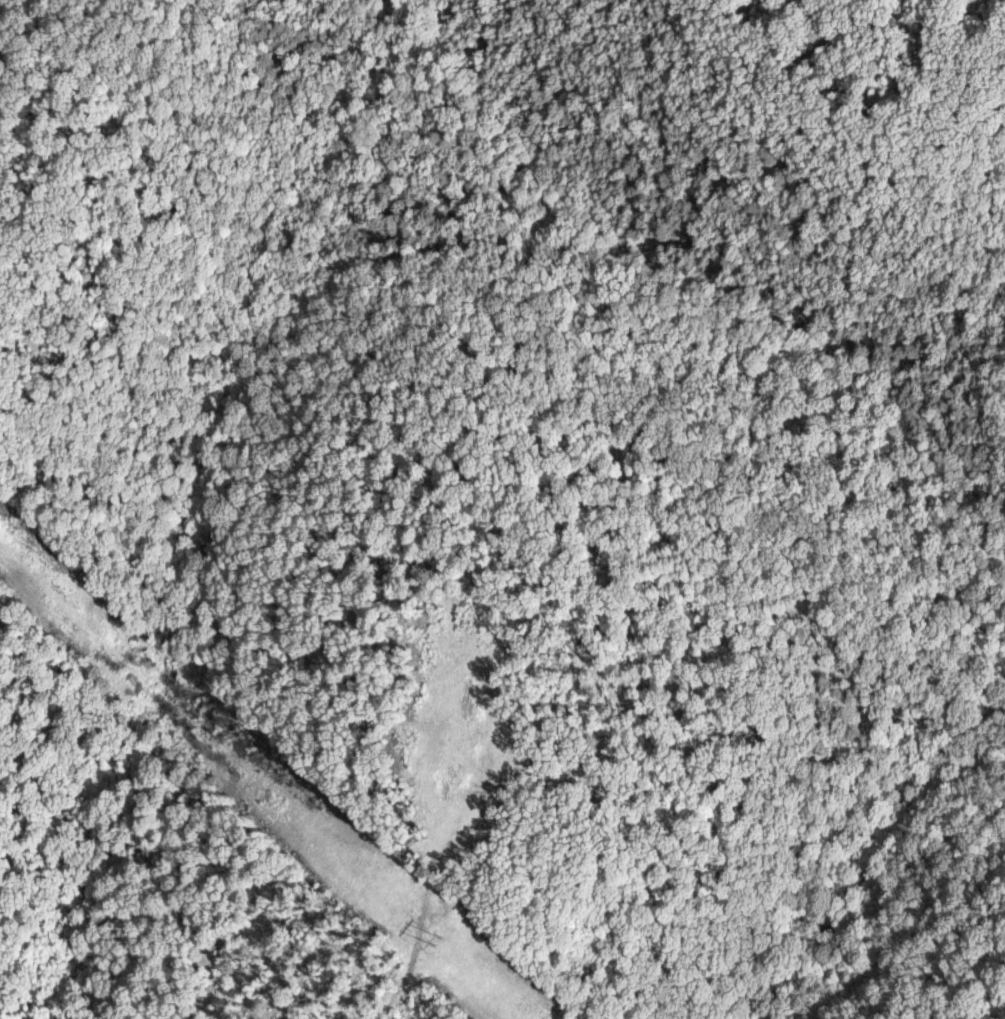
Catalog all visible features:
power tower: (440, 944)

